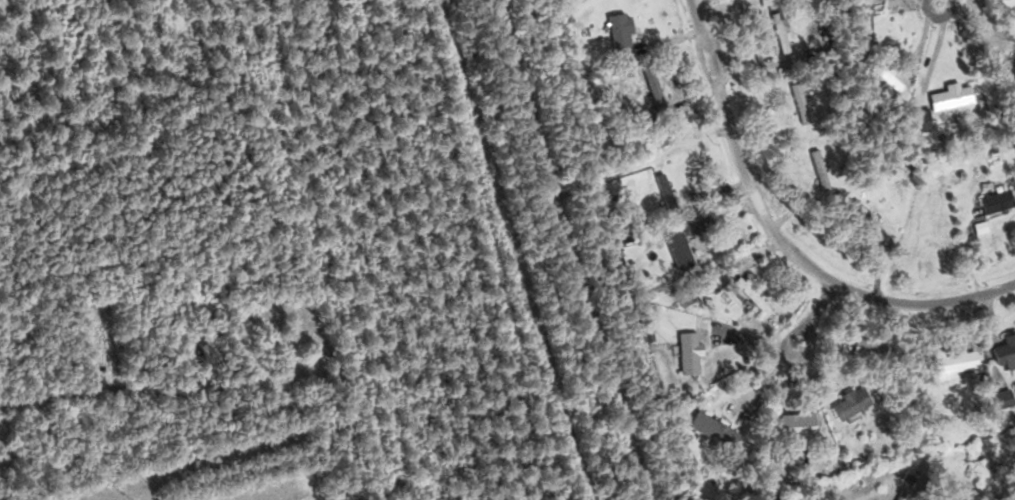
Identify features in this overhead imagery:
road: (941, 0)
building: (614, 30)
building: (774, 32)
building: (1010, 70)
building: (648, 88)
building: (945, 94)
building: (794, 103)
building: (916, 120)
building: (815, 169)
building: (660, 194)
building: (991, 201)
building: (853, 208)
road: (781, 237)
building: (673, 250)
building: (678, 296)
road: (816, 311)
building: (863, 349)
building: (684, 350)
building: (1002, 351)
building: (946, 365)
building: (1012, 390)
building: (999, 399)
building: (846, 403)
building: (792, 426)
building: (707, 430)

